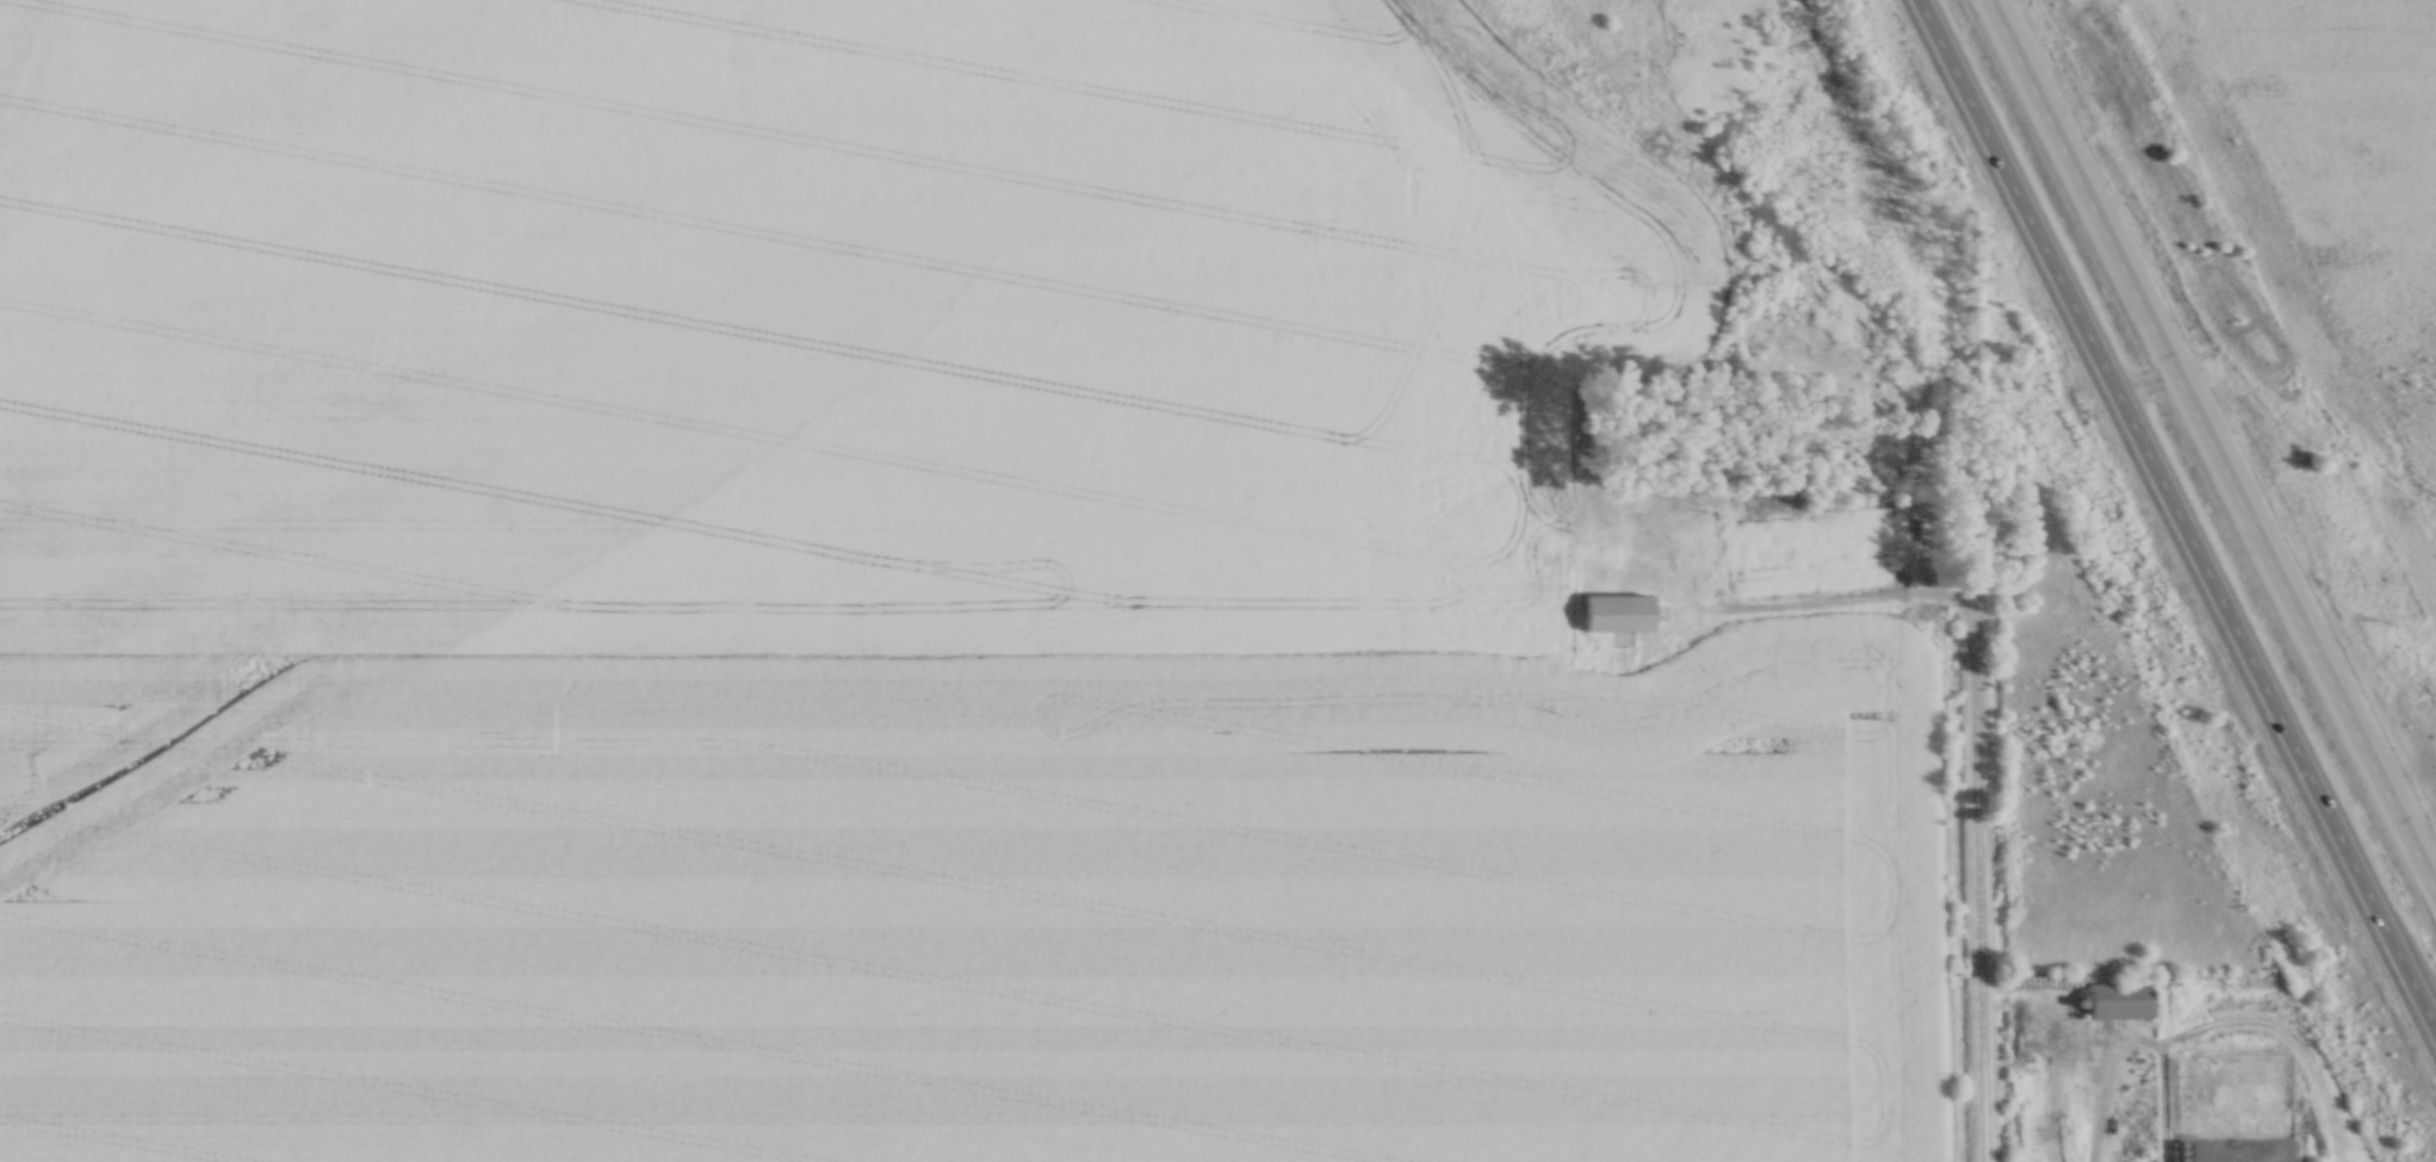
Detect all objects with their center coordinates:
road: (2213, 445)
building: (1702, 490)
road: (2174, 516)
building: (2029, 539)
building: (1771, 555)
road: (1876, 596)
building: (1619, 611)
road: (1977, 877)
building: (2120, 999)
building: (2181, 1150)

